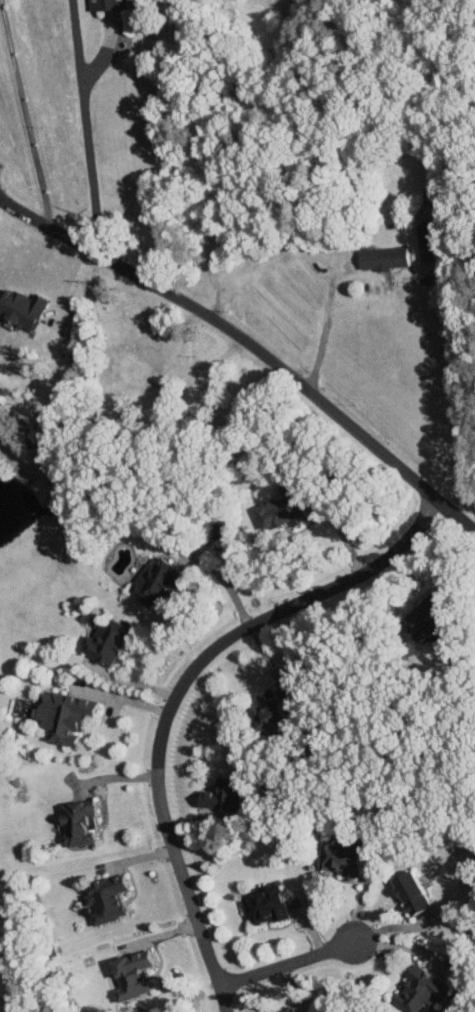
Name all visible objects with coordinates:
building: (107, 4)
road: (26, 113)
road: (87, 125)
building: (381, 257)
building: (19, 307)
road: (322, 332)
road: (251, 346)
building: (128, 364)
building: (277, 512)
building: (151, 580)
building: (419, 621)
building: (104, 641)
road: (172, 692)
road: (119, 698)
building: (269, 710)
building: (62, 715)
building: (217, 798)
building: (75, 822)
building: (338, 858)
building: (407, 892)
building: (104, 898)
building: (262, 904)
road: (287, 963)
building: (420, 989)
building: (292, 1010)

